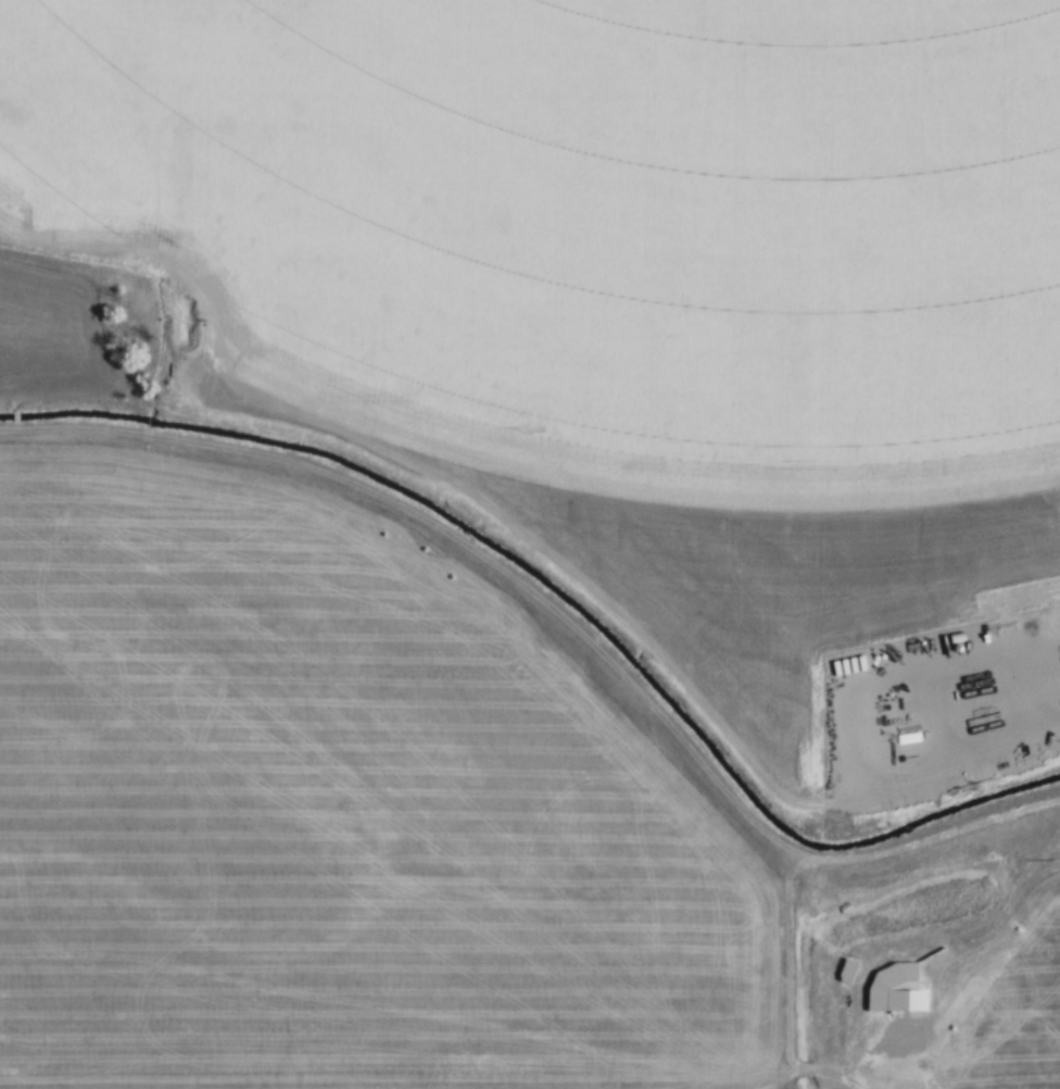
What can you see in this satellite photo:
building: (846, 971)
building: (894, 986)
road: (858, 1082)

